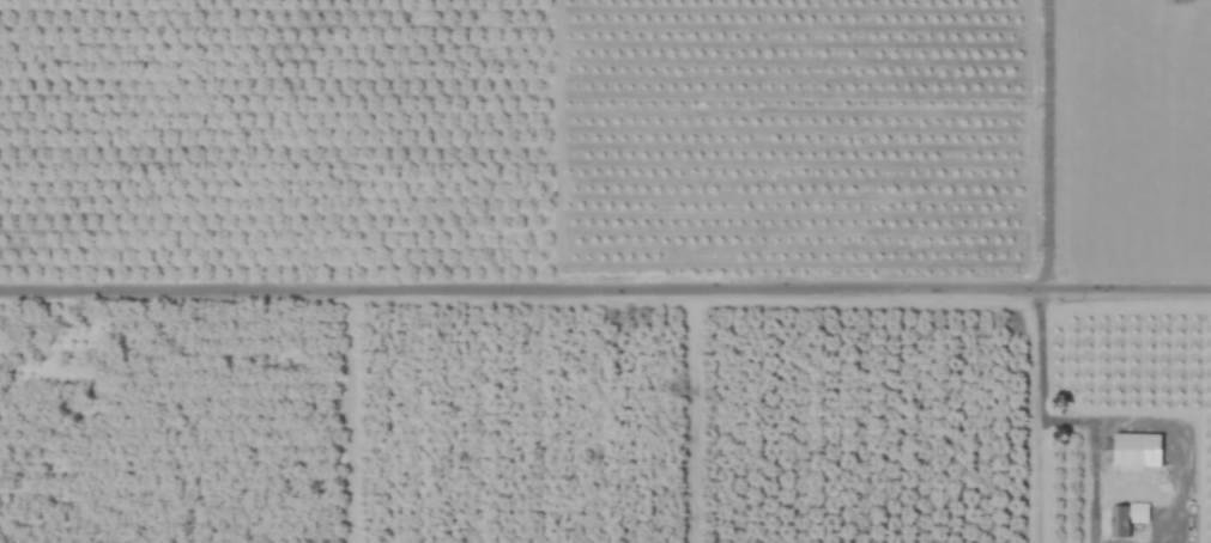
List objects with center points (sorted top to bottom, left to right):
road: (1043, 205)
road: (605, 283)
road: (1173, 449)
building: (1130, 450)
road: (1092, 457)
road: (1040, 476)
building: (1121, 521)
building: (1144, 532)

